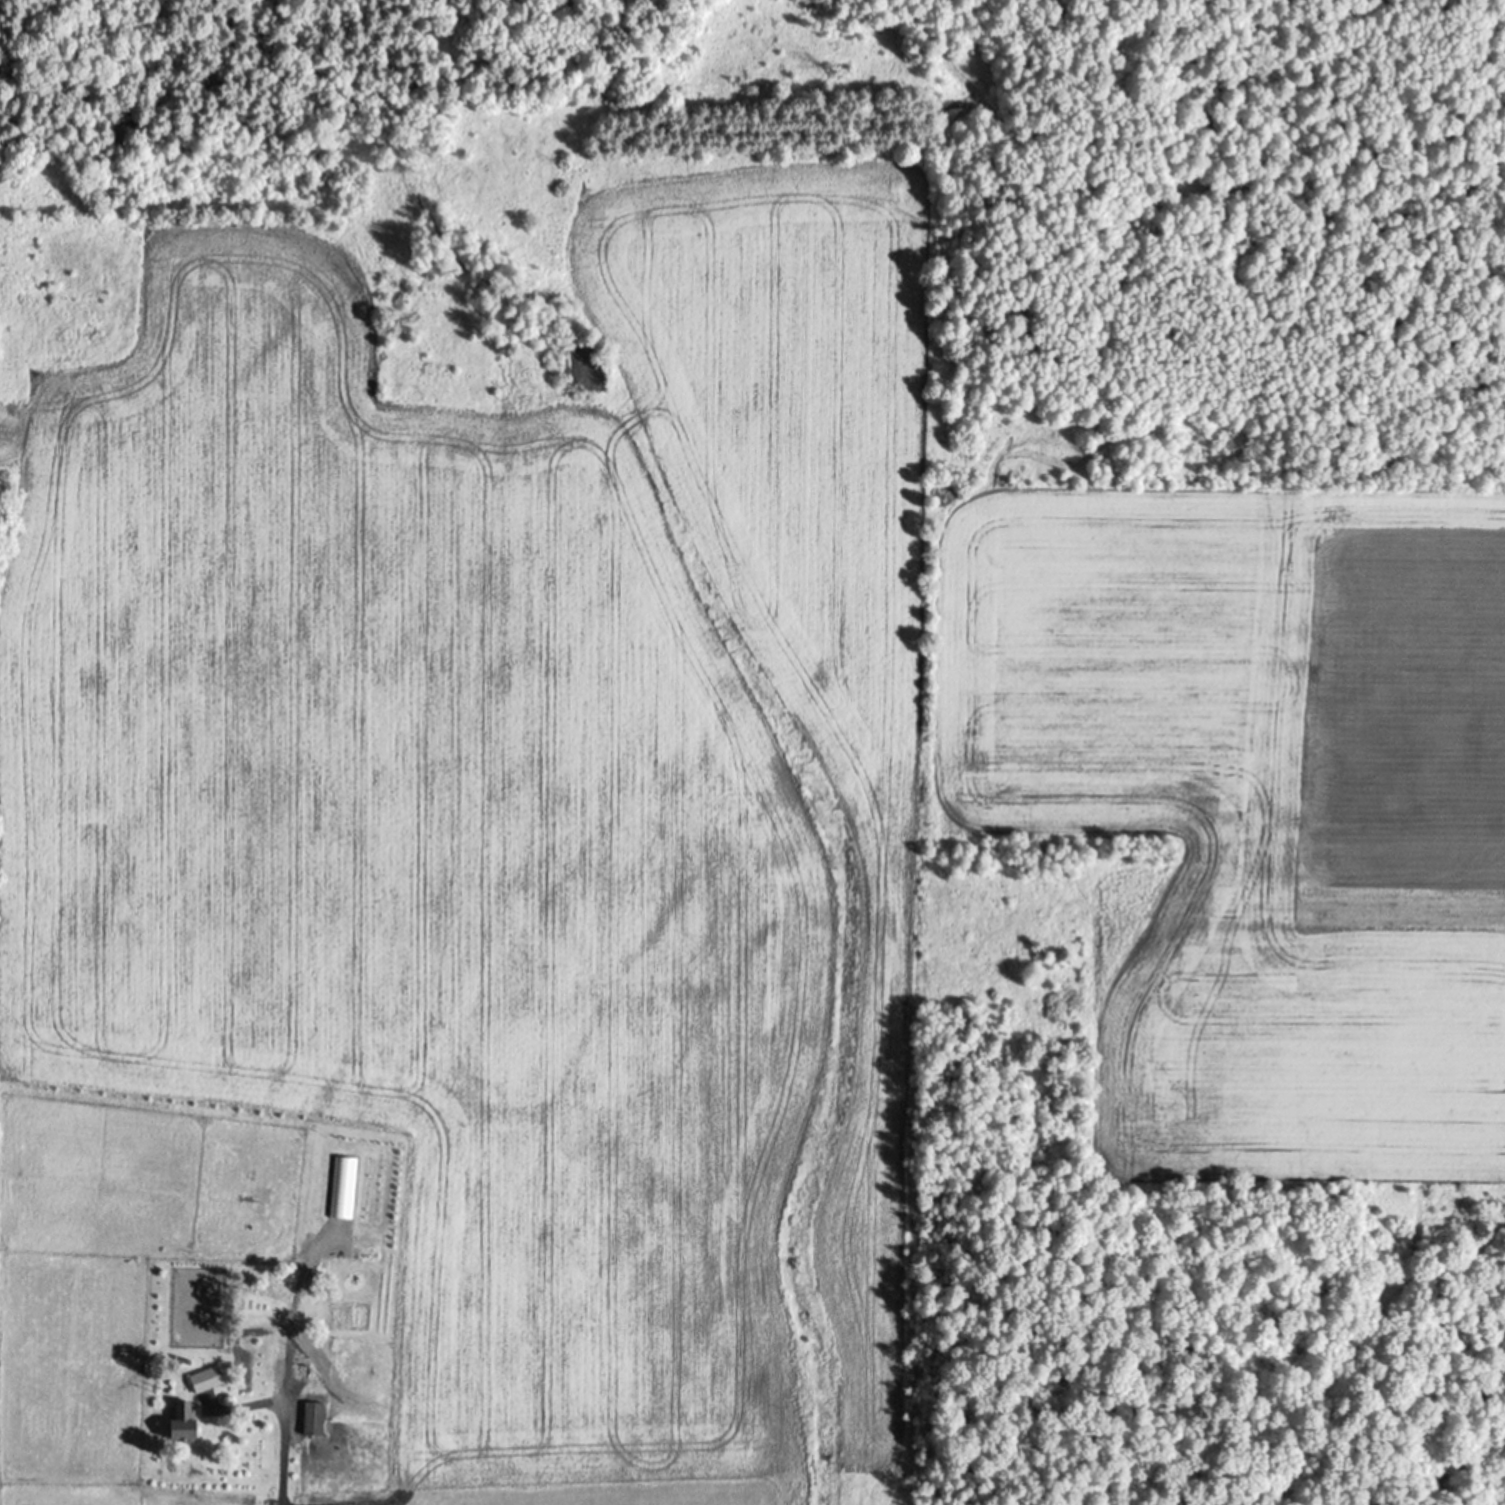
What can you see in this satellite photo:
building: (203, 1381)
building: (178, 1424)

